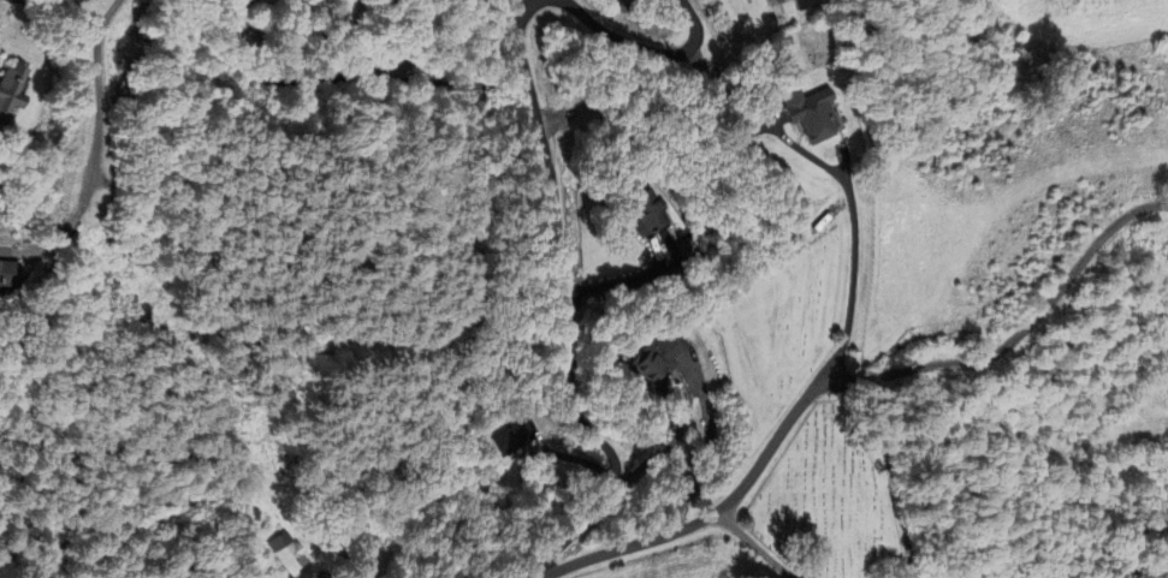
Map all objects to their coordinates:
building: (799, 5)
road: (648, 54)
building: (8, 91)
building: (806, 114)
road: (95, 142)
road: (838, 174)
building: (642, 213)
building: (672, 249)
building: (6, 273)
road: (612, 282)
road: (570, 308)
park: (784, 329)
building: (654, 359)
road: (847, 377)
building: (510, 440)
road: (660, 452)
park: (828, 497)
road: (755, 549)
building: (289, 554)

